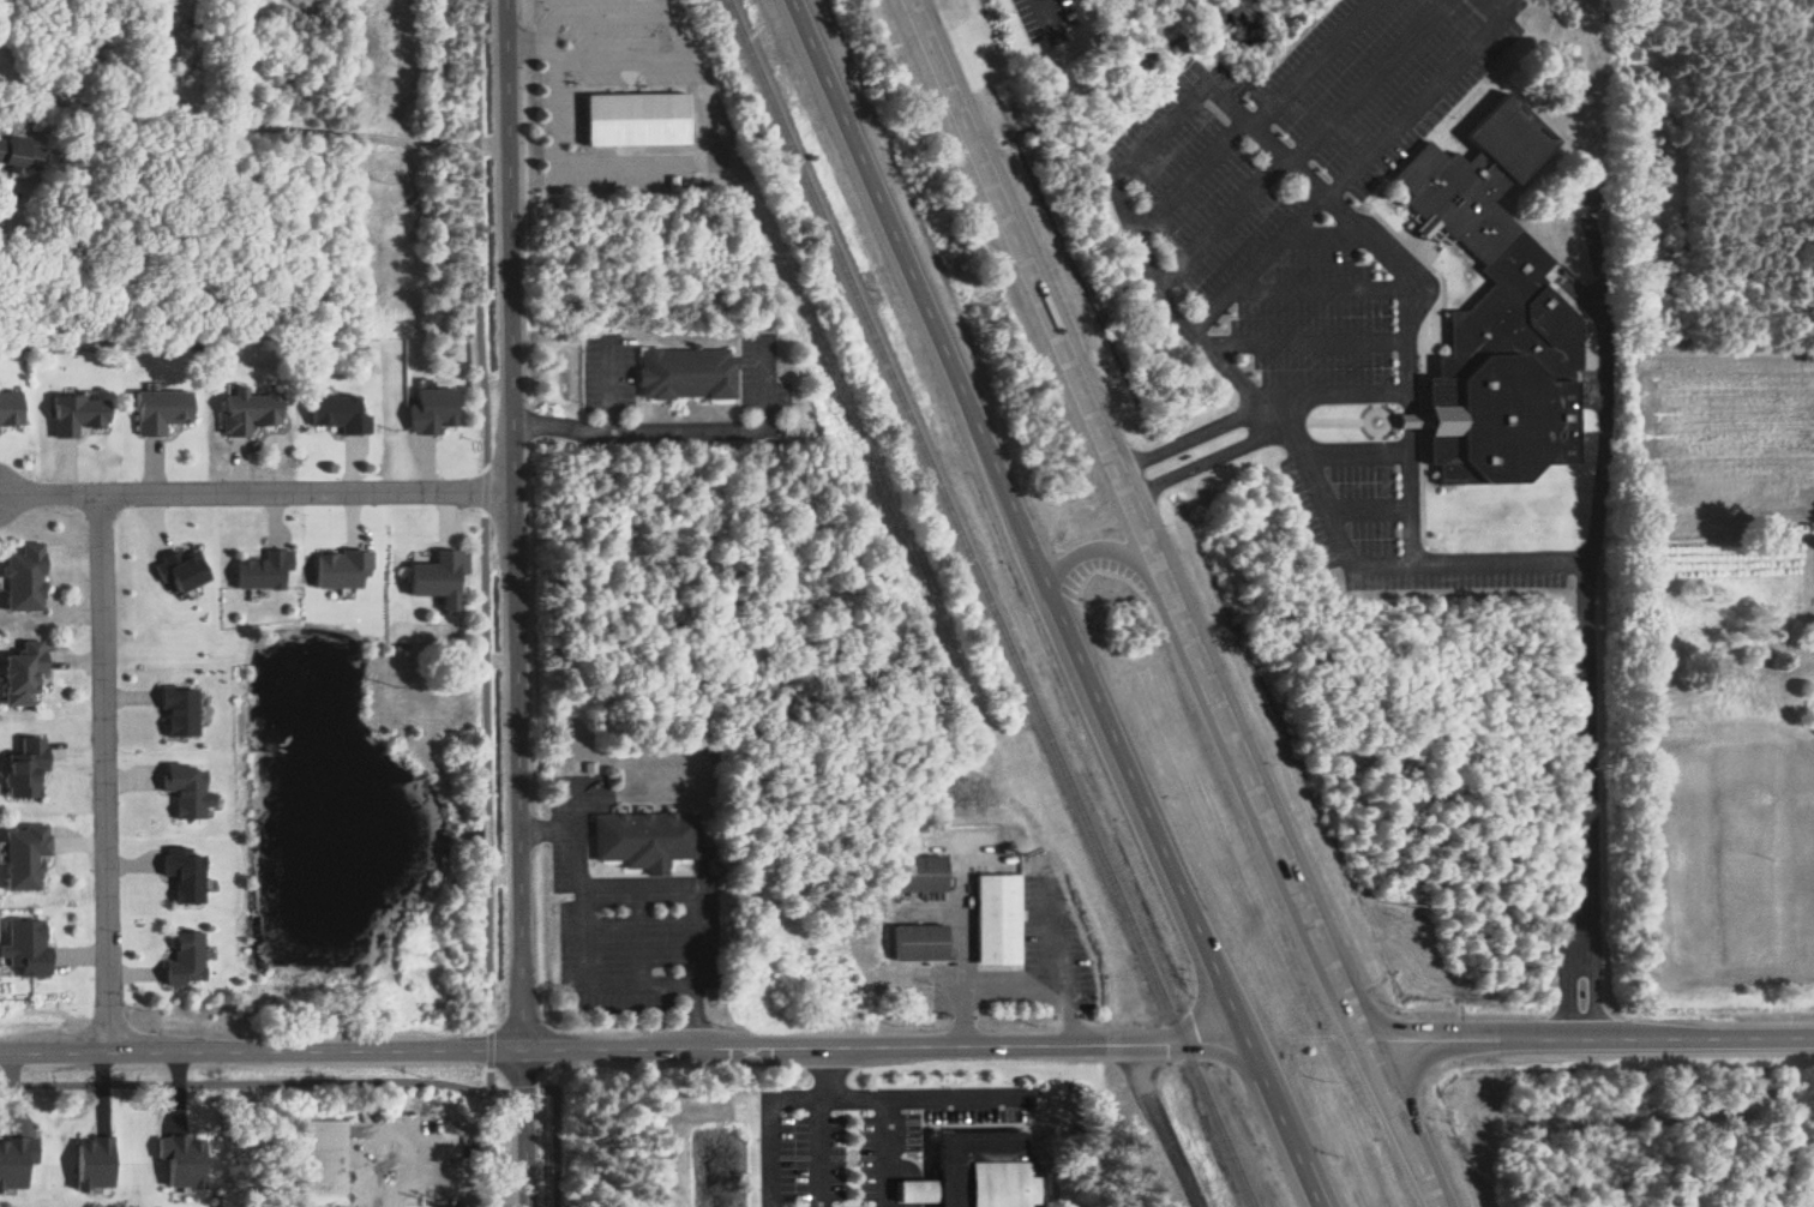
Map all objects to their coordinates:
road: (1311, 61)
road: (1201, 83)
building: (639, 119)
road: (254, 124)
building: (20, 154)
road: (1350, 166)
building: (1500, 314)
building: (690, 373)
road: (611, 389)
road: (1338, 394)
building: (10, 407)
building: (163, 410)
building: (250, 410)
building: (434, 410)
building: (341, 413)
building: (79, 414)
road: (1411, 418)
road: (1605, 418)
road: (681, 433)
road: (1190, 434)
road: (1357, 446)
road: (1203, 461)
road: (1412, 494)
road: (257, 497)
road: (1107, 551)
road: (1383, 562)
building: (343, 569)
building: (184, 570)
building: (266, 570)
building: (28, 578)
building: (440, 580)
road: (1057, 602)
road: (517, 603)
railway: (989, 603)
road: (1172, 603)
building: (28, 673)
building: (182, 709)
building: (29, 768)
road: (104, 776)
building: (190, 789)
road: (1582, 798)
building: (647, 839)
building: (28, 855)
road: (999, 866)
building: (927, 873)
building: (187, 875)
road: (690, 884)
building: (1002, 919)
road: (637, 937)
building: (925, 942)
building: (30, 948)
building: (188, 959)
road: (584, 963)
road: (1013, 985)
road: (1587, 1038)
road: (623, 1044)
road: (897, 1095)
road: (769, 1123)
road: (1161, 1125)
building: (328, 1141)
road: (827, 1152)
road: (887, 1152)
building: (185, 1160)
building: (17, 1163)
building: (96, 1163)
building: (981, 1173)
road: (459, 1185)

